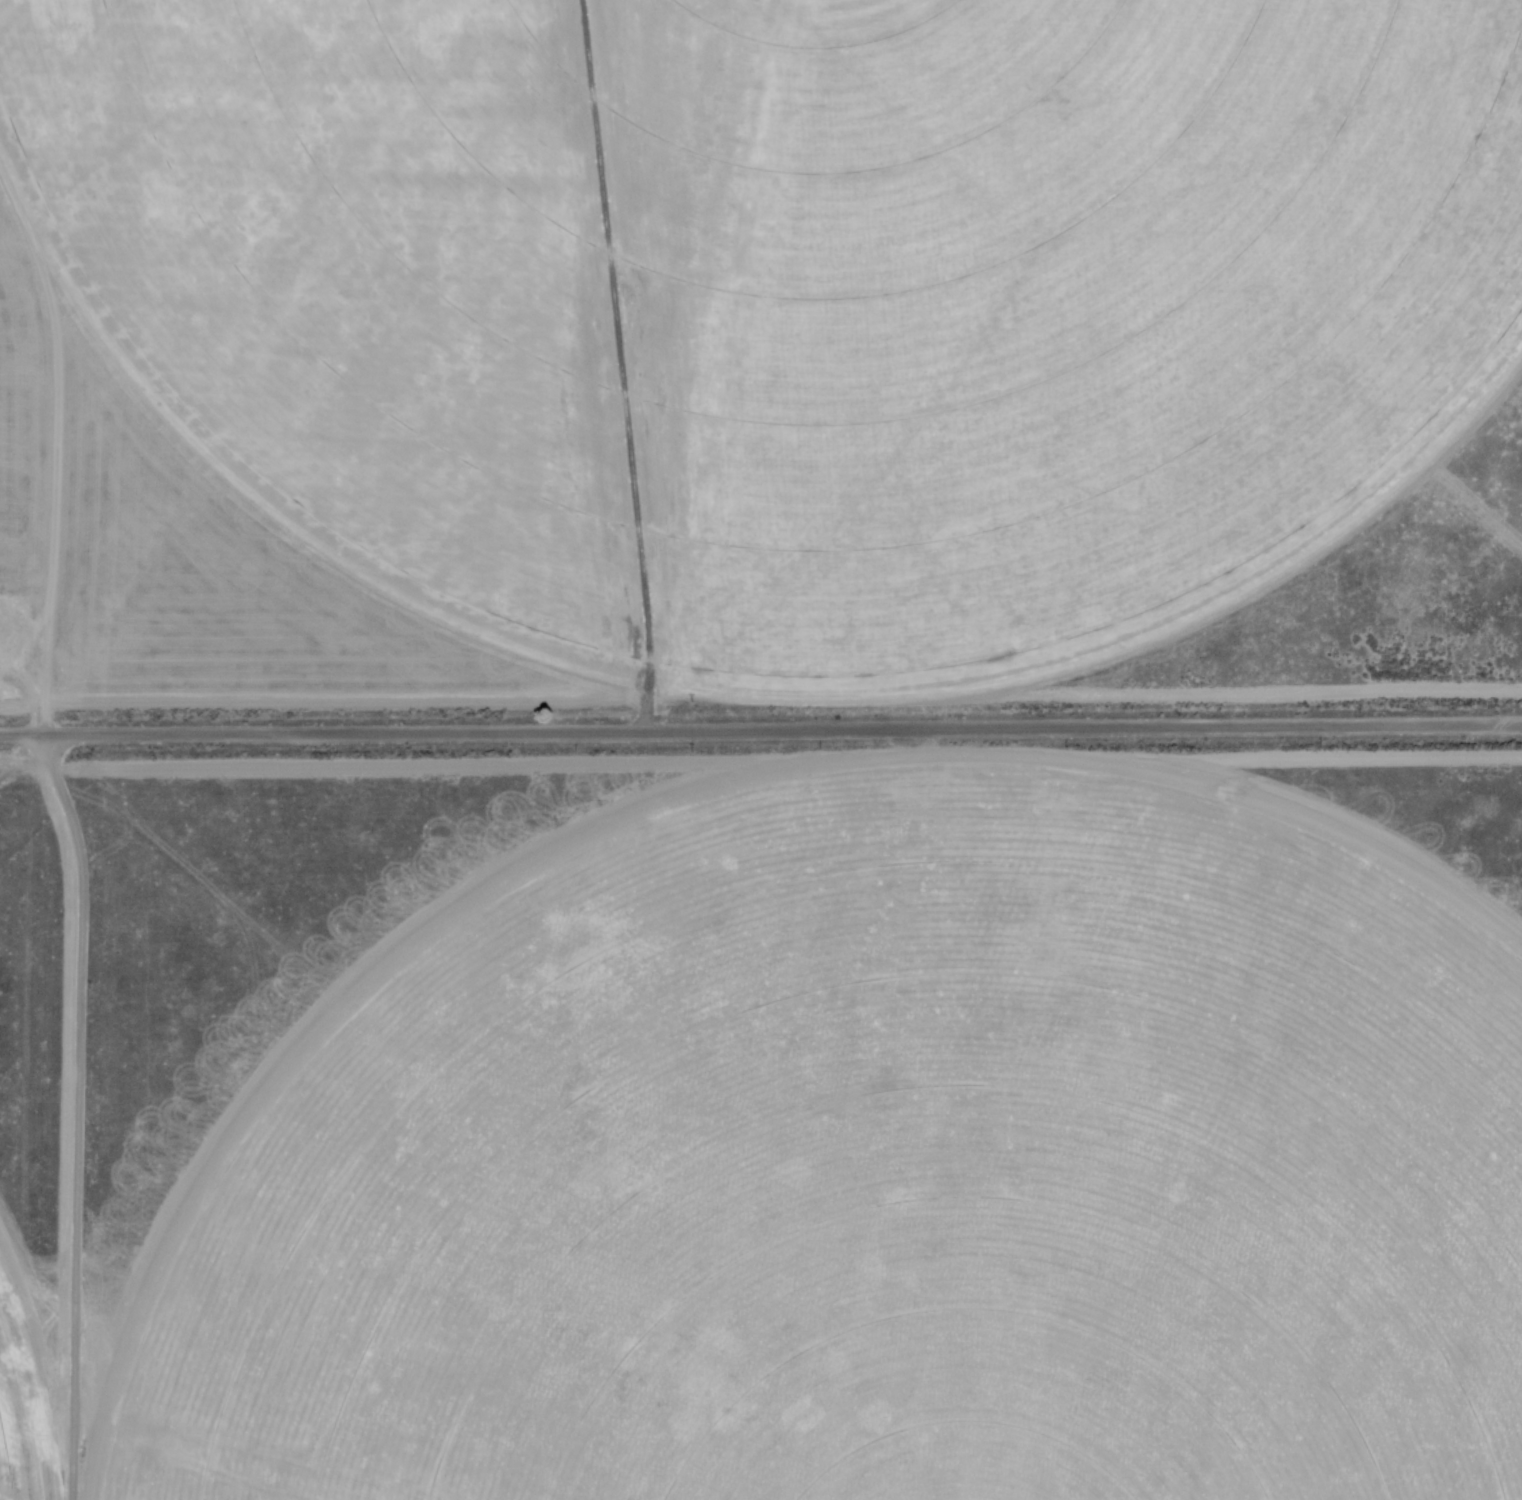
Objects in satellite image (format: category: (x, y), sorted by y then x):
road: (610, 366)
road: (760, 731)

